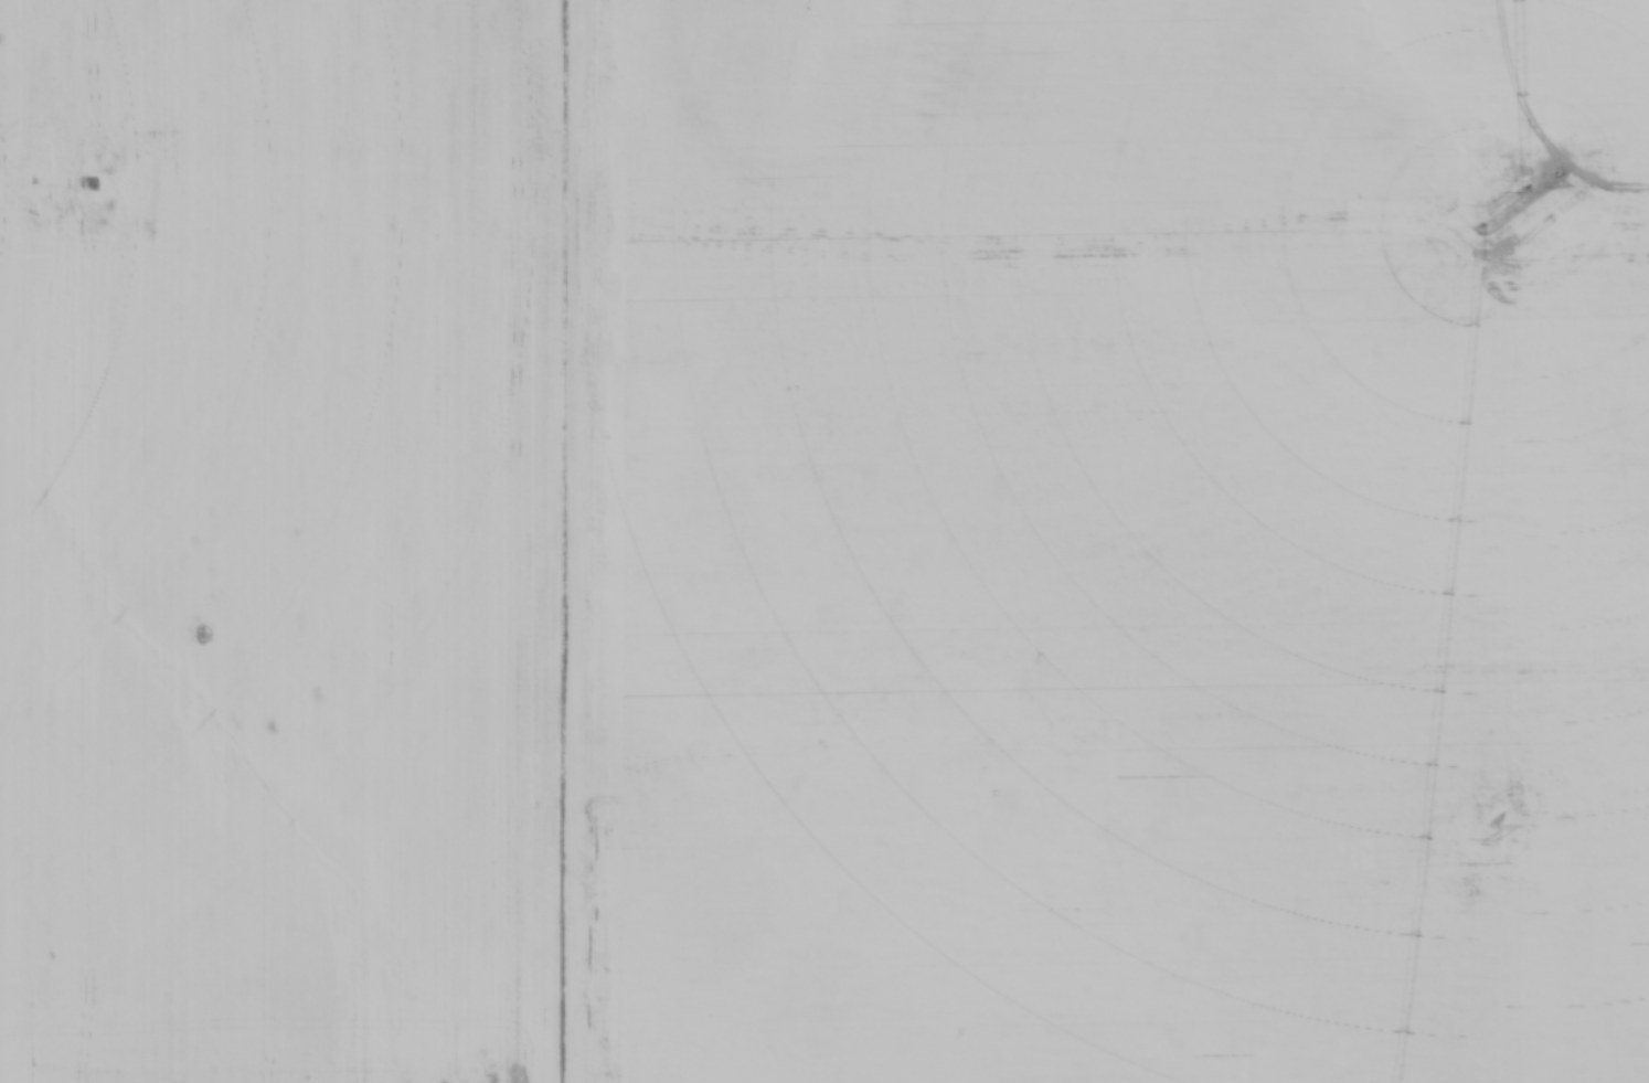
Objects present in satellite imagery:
power tower: (1491, 208)

